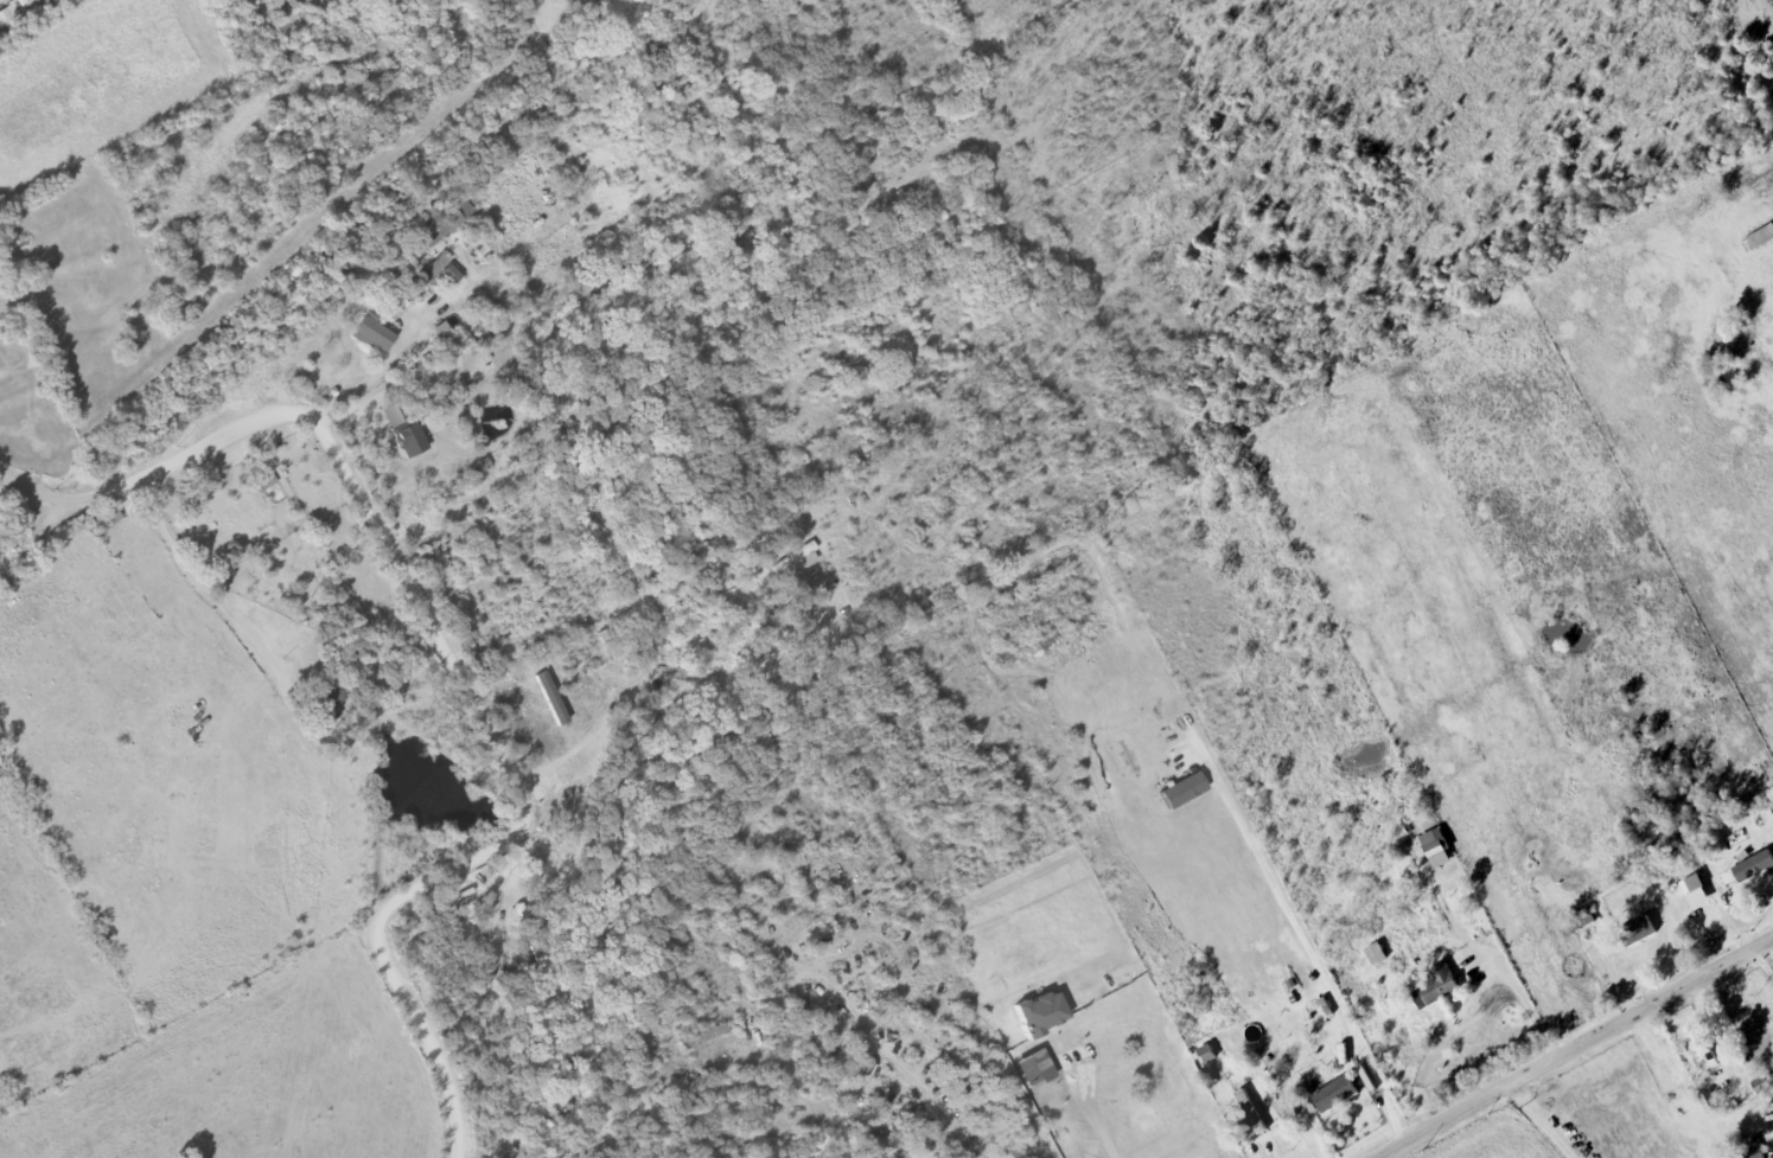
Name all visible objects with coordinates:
building: (448, 222)
building: (1759, 239)
railway: (313, 279)
building: (419, 282)
building: (374, 335)
building: (408, 439)
building: (106, 522)
building: (799, 556)
road: (457, 658)
building: (333, 696)
road: (544, 728)
building: (1436, 849)
building: (1753, 863)
building: (1695, 884)
road: (1729, 907)
building: (1635, 934)
building: (1376, 955)
building: (1437, 987)
building: (1093, 999)
building: (703, 1037)
road: (1573, 1049)
building: (1703, 1057)
building: (1334, 1095)
building: (1251, 1114)
building: (1220, 1135)
building: (1193, 1156)

